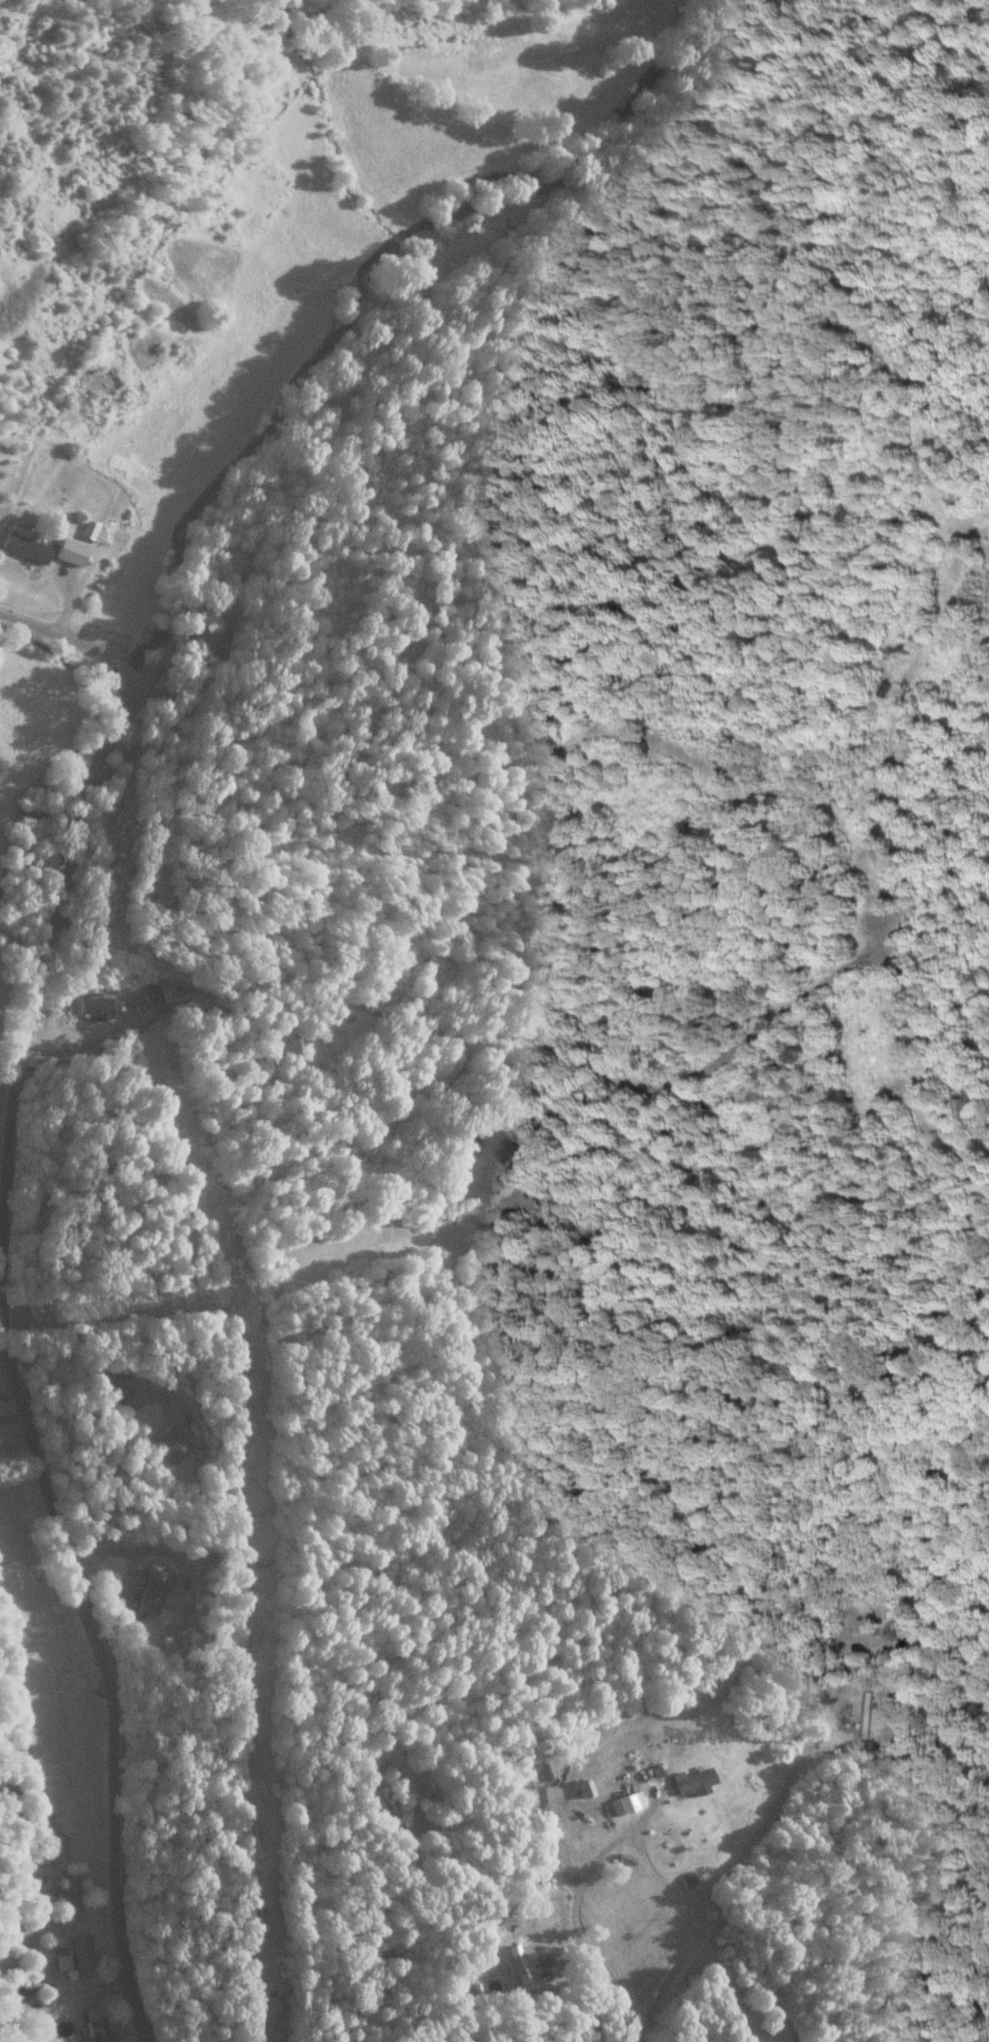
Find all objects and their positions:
building: (65, 491)
building: (96, 529)
building: (30, 545)
building: (64, 570)
road: (77, 638)
building: (891, 687)
building: (885, 688)
road: (37, 963)
building: (159, 993)
building: (100, 1005)
road: (9, 1048)
building: (511, 1145)
building: (110, 1387)
road: (13, 1415)
building: (169, 1441)
building: (148, 1590)
road: (103, 1656)
building: (867, 1712)
building: (691, 1780)
building: (390, 1795)
building: (627, 1800)
road: (643, 1853)
building: (623, 1930)
building: (81, 1950)
building: (61, 1961)
building: (23, 1985)
building: (95, 2029)

